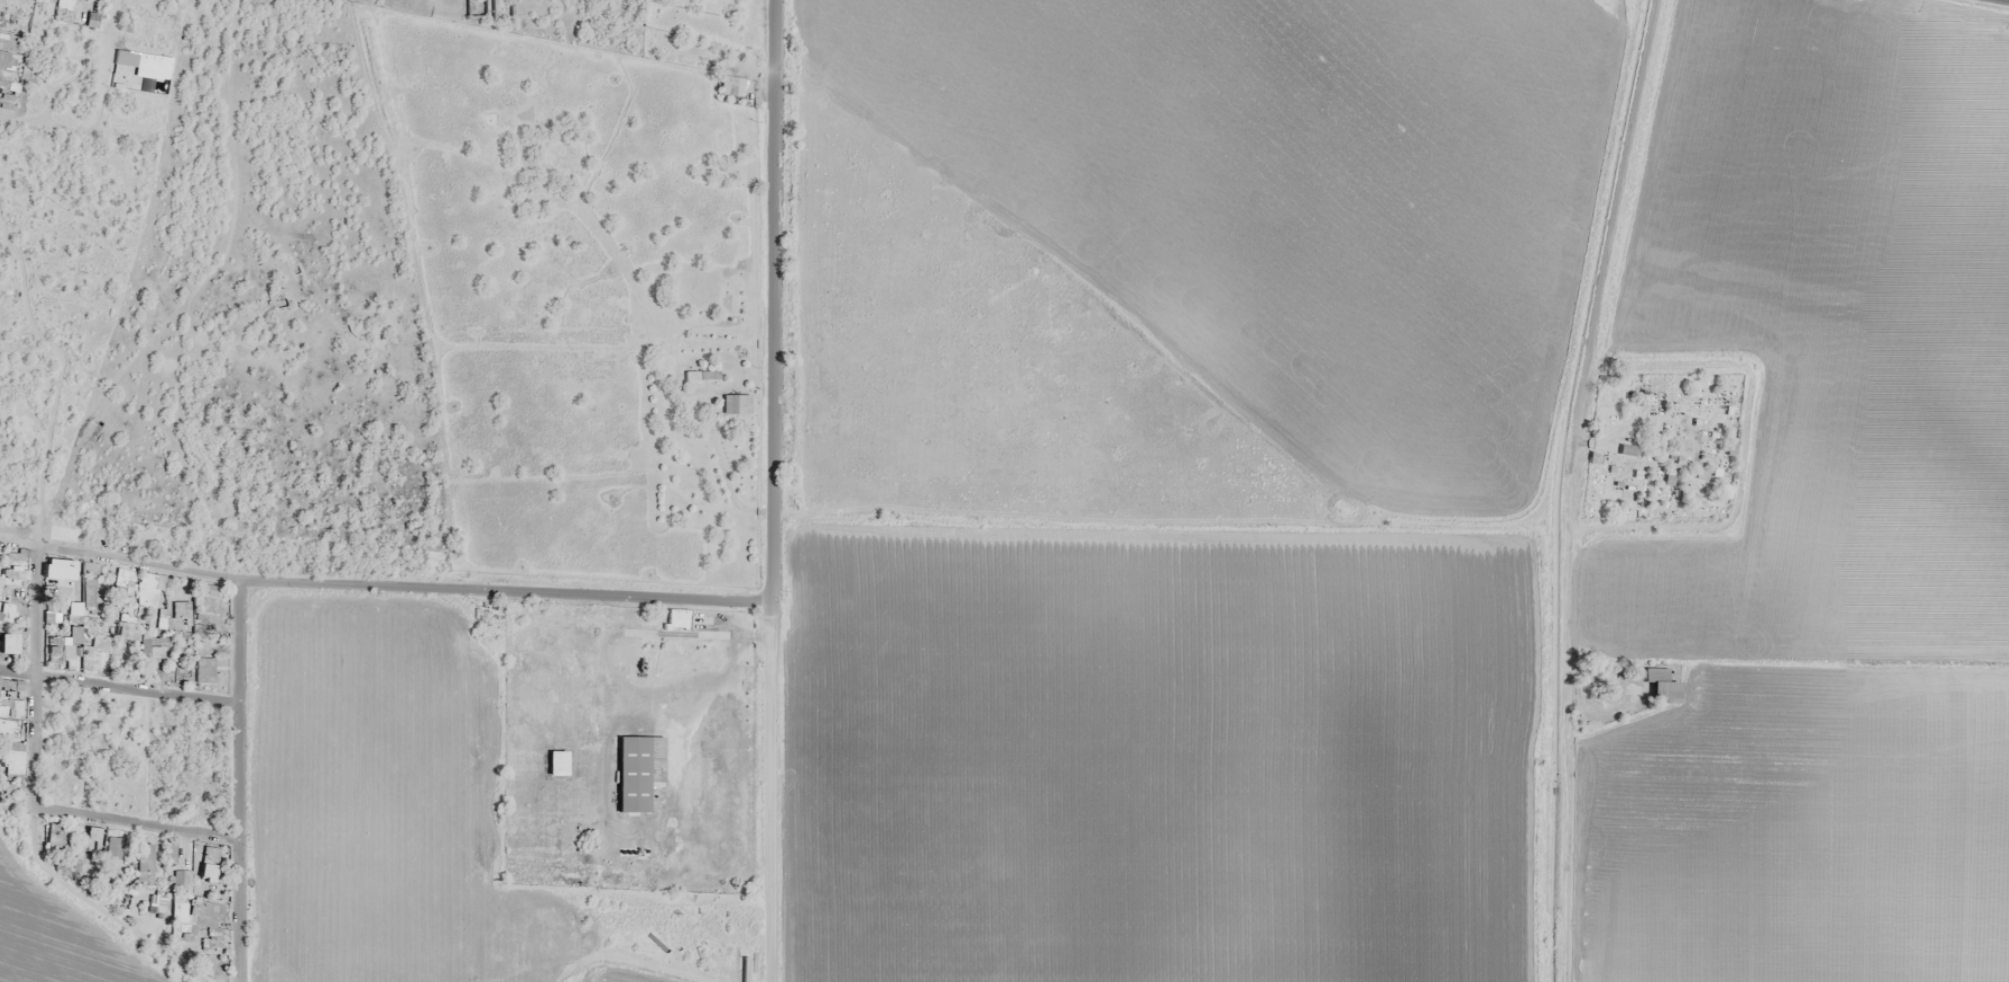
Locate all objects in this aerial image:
road: (100, 61)
road: (46, 123)
road: (1606, 211)
road: (768, 300)
road: (59, 374)
park: (1653, 444)

